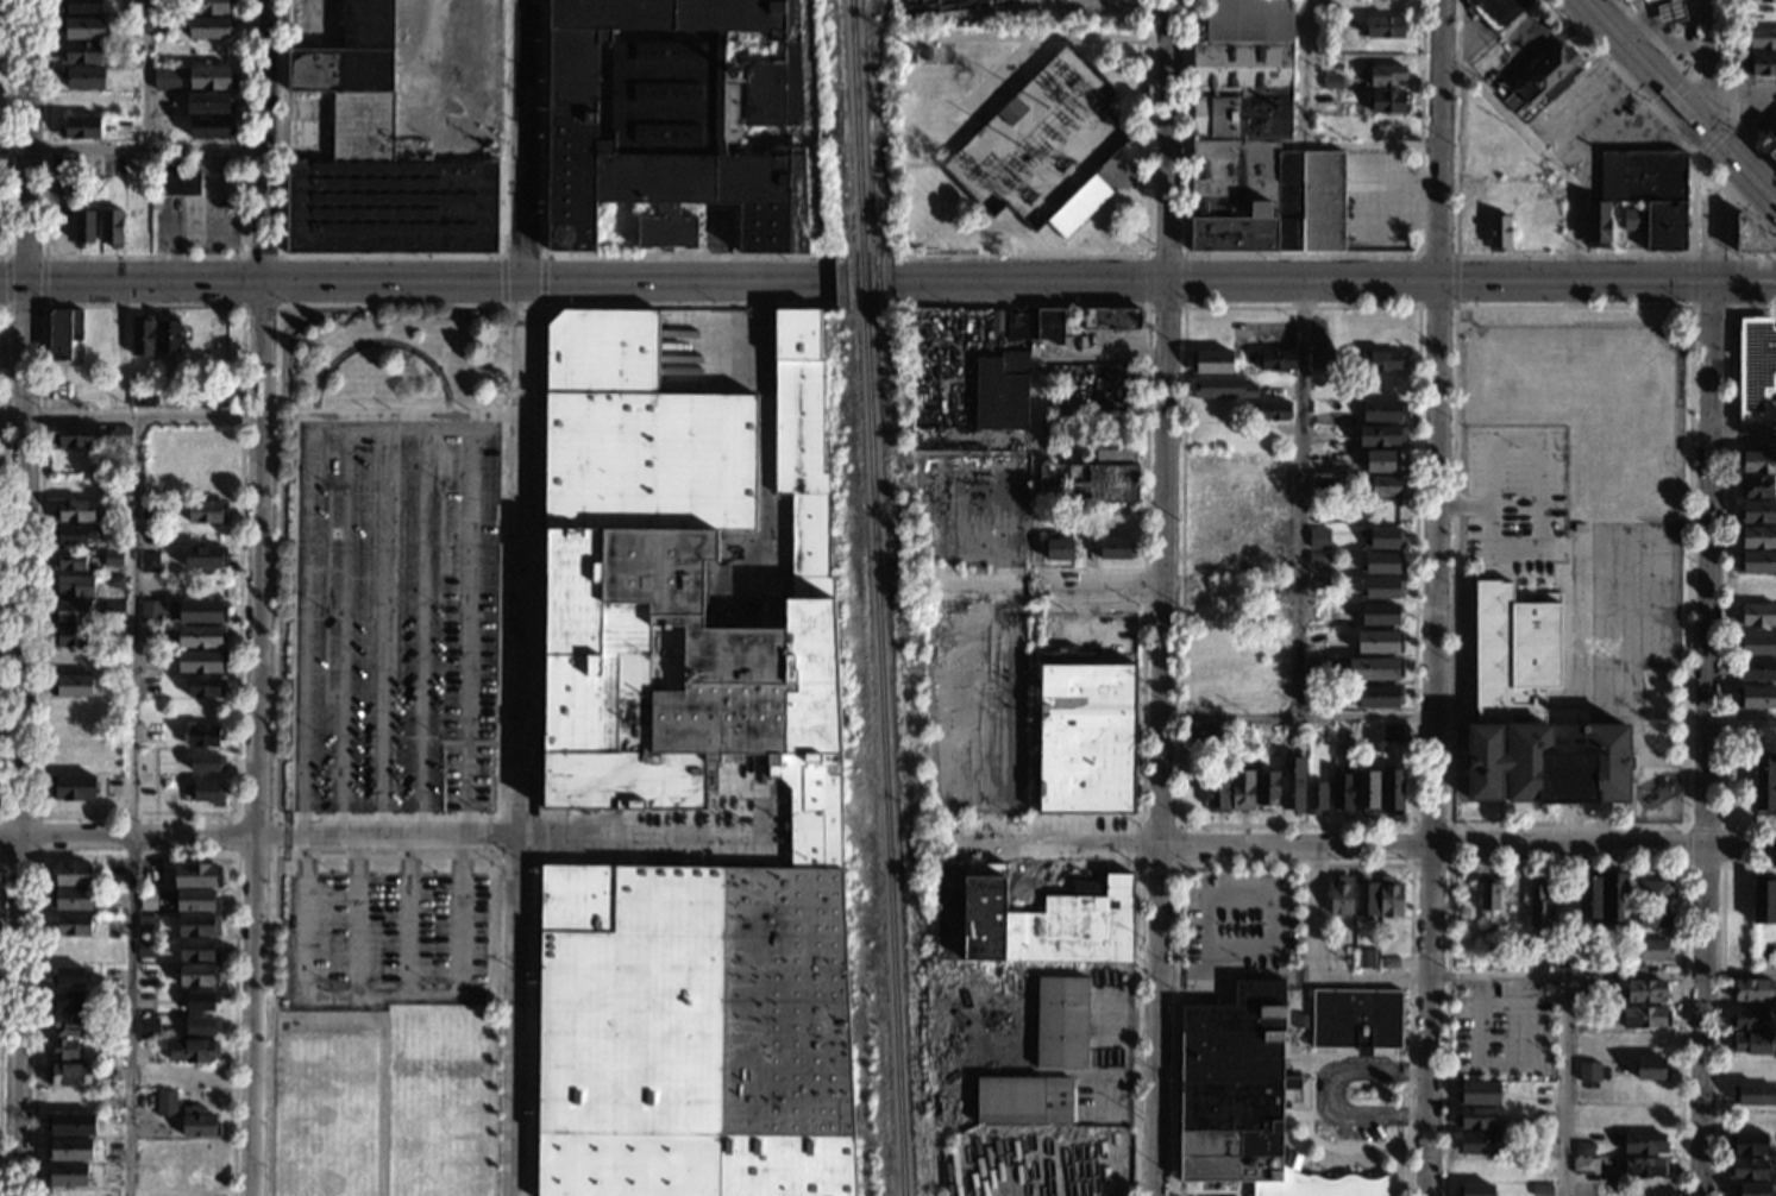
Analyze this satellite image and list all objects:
building: (1648, 1)
building: (1762, 1)
building: (209, 6)
building: (80, 7)
building: (1498, 11)
road: (1644, 11)
building: (1671, 12)
building: (1383, 27)
building: (83, 29)
building: (208, 29)
building: (1762, 39)
building: (80, 52)
building: (925, 53)
building: (1759, 64)
road: (1714, 65)
road: (1680, 69)
road: (146, 73)
building: (1386, 76)
building: (83, 77)
building: (167, 77)
building: (211, 77)
building: (1544, 80)
building: (1331, 82)
road: (1747, 90)
road: (1731, 93)
road: (1683, 99)
building: (162, 101)
road: (1711, 101)
building: (208, 102)
building: (1388, 102)
parking lot: (1758, 105)
building: (1011, 112)
building: (674, 119)
road: (1663, 119)
railway: (858, 125)
building: (211, 127)
building: (81, 128)
road: (6, 130)
road: (30, 139)
road: (525, 139)
building: (1253, 139)
building: (1774, 139)
road: (131, 145)
road: (1300, 145)
road: (1543, 152)
building: (1772, 153)
building: (378, 162)
building: (64, 174)
building: (177, 180)
building: (1650, 193)
road: (1693, 204)
building: (1079, 207)
building: (1632, 219)
building: (1598, 224)
road: (1730, 224)
building: (111, 227)
building: (83, 228)
building: (1499, 232)
building: (1750, 237)
road: (845, 254)
road: (1300, 254)
road: (1488, 254)
road: (24, 256)
road: (140, 256)
road: (391, 256)
road: (522, 256)
road: (1163, 256)
road: (1333, 278)
road: (13, 279)
road: (431, 279)
road: (541, 279)
road: (5, 281)
road: (43, 281)
road: (502, 281)
railway: (864, 281)
road: (1146, 281)
road: (1418, 281)
road: (1455, 281)
road: (1184, 282)
road: (1692, 282)
road: (240, 302)
road: (1730, 302)
road: (24, 306)
road: (608, 306)
road: (1165, 308)
building: (1111, 320)
building: (996, 321)
building: (1019, 326)
building: (1049, 326)
building: (63, 333)
building: (142, 335)
building: (168, 335)
road: (379, 340)
building: (1380, 359)
building: (1323, 360)
building: (1211, 361)
building: (1274, 361)
building: (1756, 370)
building: (1382, 386)
building: (1223, 388)
building: (1002, 391)
road: (1036, 408)
building: (1273, 411)
building: (1382, 411)
road: (413, 413)
road: (130, 415)
road: (1439, 424)
road: (1743, 429)
building: (1322, 434)
building: (74, 435)
building: (120, 435)
building: (1381, 436)
building: (1052, 446)
building: (1115, 449)
building: (1318, 459)
building: (1379, 461)
building: (1758, 462)
building: (1088, 483)
building: (1319, 483)
building: (1385, 486)
building: (1757, 487)
road: (1297, 498)
parking lot: (1515, 498)
road: (1464, 505)
building: (74, 511)
building: (151, 511)
building: (206, 511)
building: (1238, 512)
building: (1757, 512)
road: (1709, 523)
building: (1577, 528)
building: (73, 534)
building: (1381, 535)
building: (1318, 537)
building: (1758, 537)
road: (1545, 548)
building: (1056, 549)
building: (1115, 549)
road: (2, 558)
road: (23, 558)
building: (202, 558)
building: (1318, 558)
building: (112, 559)
building: (70, 560)
building: (149, 562)
building: (1382, 562)
building: (1756, 564)
road: (1726, 571)
building: (115, 581)
building: (1317, 581)
building: (77, 586)
building: (1381, 587)
road: (1096, 590)
building: (1755, 590)
road: (257, 597)
road: (1160, 597)
building: (113, 610)
building: (151, 611)
building: (201, 611)
building: (71, 612)
building: (1317, 612)
building: (1381, 615)
building: (1756, 615)
parking lot: (394, 616)
road: (384, 624)
road: (422, 624)
road: (343, 625)
building: (113, 631)
building: (71, 636)
building: (200, 637)
road: (521, 642)
building: (1380, 642)
building: (1757, 643)
road: (536, 655)
building: (114, 660)
building: (71, 661)
building: (200, 661)
building: (1317, 668)
building: (1375, 668)
building: (1756, 669)
building: (73, 686)
building: (206, 687)
building: (1380, 695)
building: (1756, 698)
building: (1531, 712)
road: (1742, 716)
road: (1297, 718)
building: (1209, 730)
building: (1391, 732)
building: (201, 737)
building: (1341, 737)
building: (1366, 737)
building: (1085, 739)
railway: (884, 753)
building: (206, 762)
building: (1292, 785)
building: (1764, 785)
building: (73, 788)
building: (686, 788)
building: (1267, 788)
building: (1242, 791)
building: (207, 792)
building: (1367, 792)
building: (1342, 793)
building: (1391, 793)
building: (1217, 795)
building: (1316, 797)
road: (132, 805)
road: (37, 817)
road: (501, 823)
road: (1412, 825)
road: (1180, 827)
road: (1686, 827)
road: (237, 836)
road: (10, 837)
road: (138, 837)
road: (514, 837)
road: (1412, 846)
road: (1191, 848)
road: (1450, 848)
road: (1568, 849)
road: (1740, 849)
road: (0, 854)
road: (136, 855)
road: (459, 856)
road: (1568, 867)
road: (1724, 867)
road: (1297, 868)
building: (71, 874)
building: (195, 876)
building: (1653, 890)
building: (1341, 896)
building: (112, 898)
road: (1275, 898)
building: (1364, 898)
building: (1391, 898)
building: (1488, 898)
building: (1588, 898)
building: (1614, 898)
building: (70, 899)
building: (192, 900)
building: (1764, 900)
building: (1513, 906)
building: (1539, 906)
road: (356, 915)
road: (407, 915)
building: (1655, 917)
building: (1737, 918)
building: (1030, 919)
parking lot: (1238, 921)
building: (73, 925)
building: (197, 925)
road: (1141, 933)
parking lot: (384, 939)
road: (1182, 945)
building: (145, 949)
building: (1652, 950)
building: (197, 951)
building: (1387, 953)
building: (1364, 958)
building: (1391, 963)
building: (1636, 968)
building: (68, 976)
building: (196, 977)
road: (1481, 977)
building: (1752, 990)
building: (1645, 992)
road: (382, 994)
building: (201, 1000)
building: (67, 1001)
road: (1721, 1005)
road: (17, 1016)
building: (1356, 1016)
building: (1644, 1018)
building: (1749, 1019)
building: (1061, 1022)
road: (1430, 1022)
road: (1703, 1022)
building: (68, 1026)
building: (152, 1026)
building: (201, 1026)
parking lot: (1506, 1032)
road: (383, 1041)
building: (1751, 1044)
building: (63, 1049)
building: (192, 1051)
building: (1590, 1068)
road: (1512, 1069)
building: (1652, 1069)
building: (68, 1076)
road: (1563, 1087)
road: (1332, 1094)
building: (1479, 1094)
building: (1752, 1094)
building: (1245, 1099)
road: (495, 1100)
road: (515, 1100)
road: (533, 1100)
building: (1023, 1101)
building: (165, 1103)
building: (1476, 1118)
building: (70, 1125)
building: (197, 1125)
building: (1479, 1143)
building: (1644, 1144)
building: (1746, 1144)
building: (69, 1150)
building: (1583, 1150)
road: (1393, 1154)
building: (1112, 1156)
building: (1584, 1166)
building: (1476, 1167)
building: (1643, 1167)
building: (1747, 1169)
building: (67, 1175)
building: (1028, 1179)
road: (1198, 1189)
road: (1243, 1189)
building: (1479, 1189)
building: (1752, 1189)
road: (1209, 1191)

